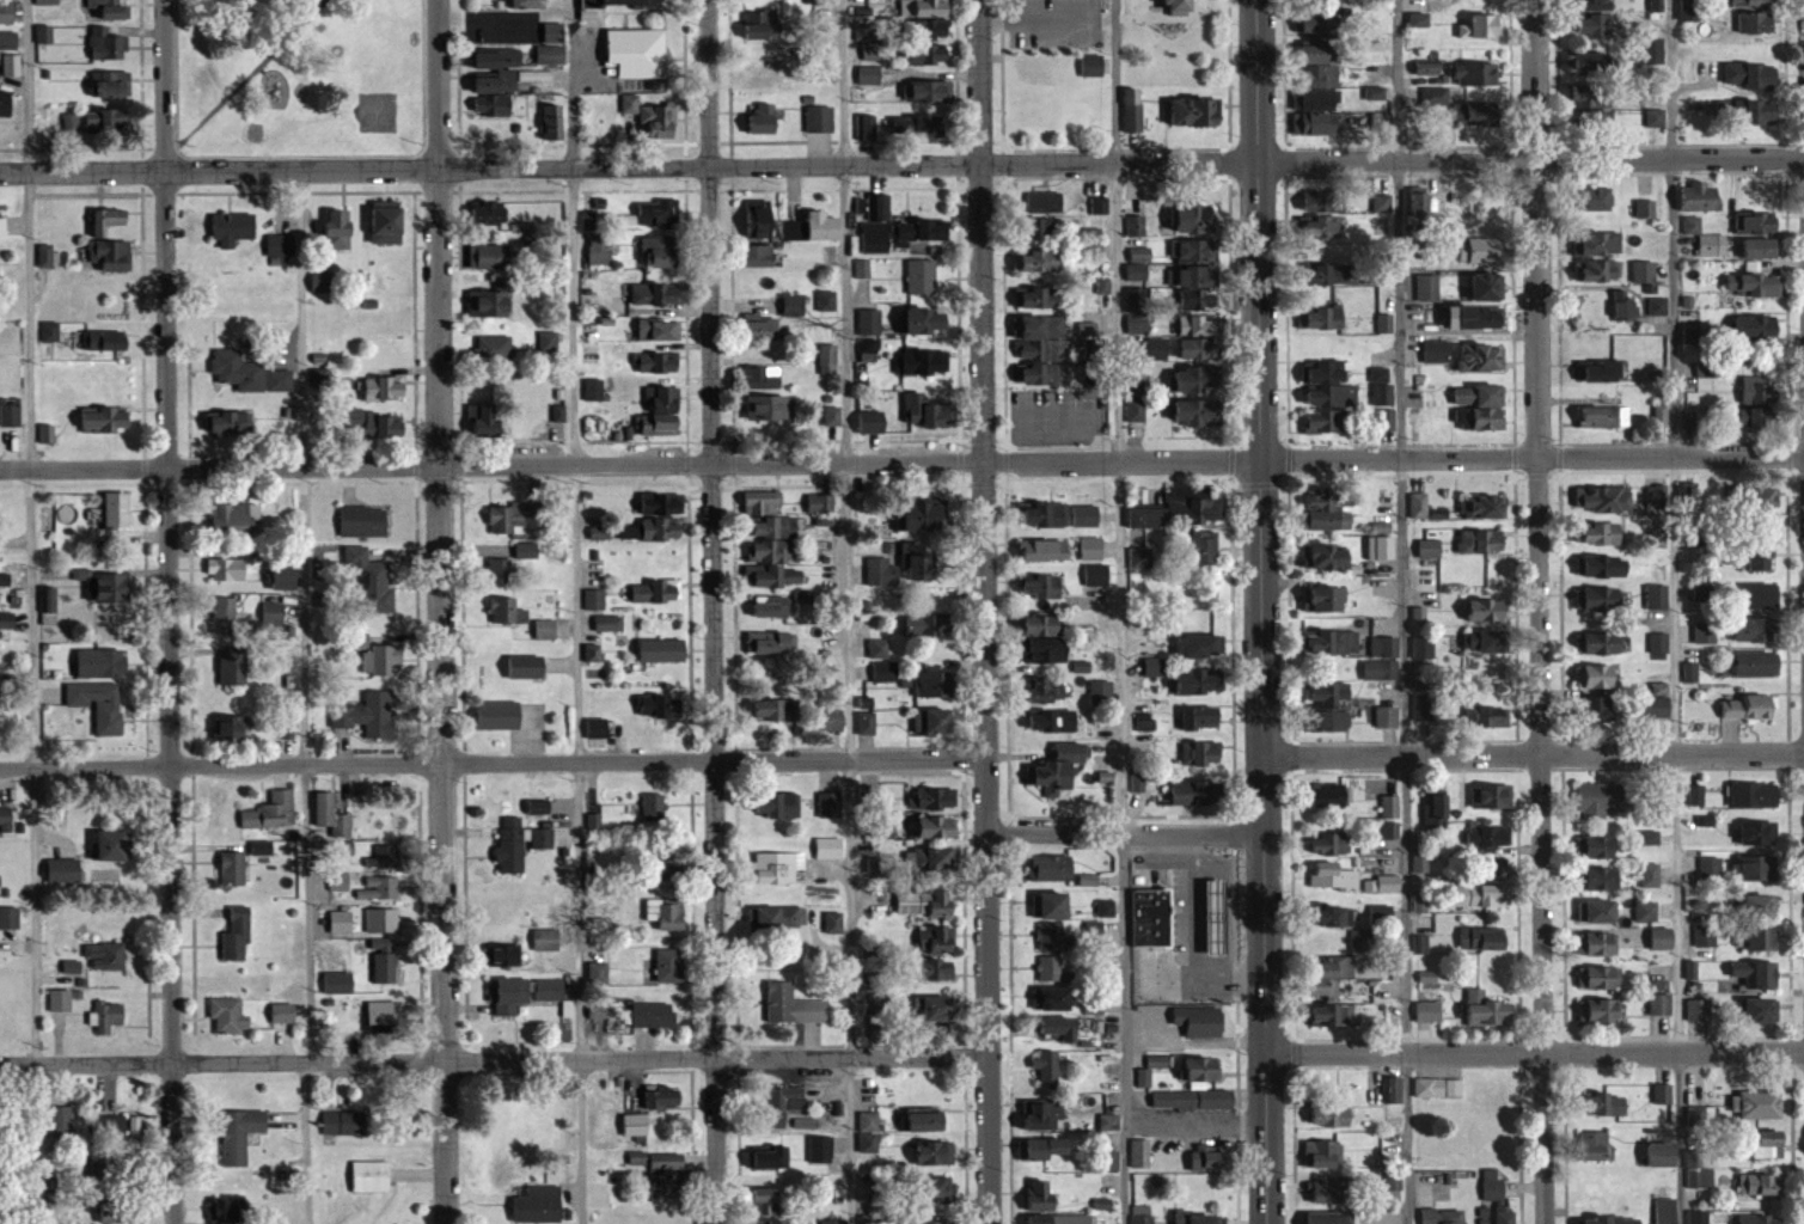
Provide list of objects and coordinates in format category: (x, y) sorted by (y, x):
building: (47, 2)
building: (624, 2)
building: (531, 4)
building: (927, 7)
building: (108, 10)
building: (1325, 11)
building: (6, 13)
road: (1047, 16)
building: (1755, 22)
building: (1590, 24)
building: (763, 25)
building: (1488, 25)
building: (927, 29)
building: (8, 39)
building: (108, 44)
building: (551, 44)
building: (872, 51)
building: (637, 53)
building: (925, 54)
building: (1319, 54)
building: (497, 59)
building: (1594, 63)
building: (10, 65)
building: (1093, 65)
building: (869, 74)
building: (1485, 74)
building: (1750, 75)
building: (111, 84)
building: (493, 84)
park: (304, 86)
building: (929, 90)
building: (1376, 93)
building: (1436, 97)
building: (1319, 102)
building: (5, 103)
building: (493, 104)
building: (629, 109)
building: (1133, 109)
building: (1594, 109)
building: (1198, 111)
building: (1757, 111)
building: (1486, 115)
building: (763, 117)
building: (659, 118)
building: (819, 118)
building: (98, 121)
building: (554, 121)
building: (921, 126)
building: (866, 128)
road: (1530, 157)
road: (629, 166)
building: (1699, 196)
building: (1595, 197)
building: (1326, 201)
building: (1045, 202)
building: (1423, 203)
building: (1645, 208)
building: (489, 212)
building: (656, 213)
building: (759, 218)
building: (1197, 218)
building: (109, 219)
building: (387, 221)
building: (1756, 221)
building: (824, 224)
building: (1690, 225)
building: (2, 226)
building: (1136, 226)
building: (233, 227)
building: (1326, 228)
building: (338, 229)
building: (791, 229)
building: (1051, 229)
building: (924, 232)
building: (1601, 243)
building: (282, 244)
building: (1712, 244)
building: (601, 246)
building: (1093, 246)
building: (1760, 247)
building: (1195, 250)
building: (1486, 250)
building: (661, 251)
building: (47, 255)
building: (110, 255)
building: (759, 255)
building: (491, 256)
building: (1041, 261)
building: (1602, 270)
building: (1647, 271)
building: (1328, 273)
building: (922, 276)
building: (323, 281)
building: (1760, 284)
building: (1490, 286)
building: (1429, 287)
building: (656, 292)
building: (1040, 296)
building: (825, 301)
building: (494, 302)
building: (791, 305)
building: (1657, 310)
building: (1198, 312)
building: (1625, 314)
building: (1327, 316)
building: (1481, 316)
building: (927, 320)
building: (1137, 324)
building: (762, 326)
building: (1756, 328)
building: (659, 329)
building: (106, 341)
building: (1041, 347)
building: (494, 348)
building: (1155, 348)
building: (868, 349)
building: (1438, 350)
building: (591, 351)
building: (1482, 356)
building: (827, 359)
building: (658, 362)
building: (922, 362)
building: (1600, 369)
building: (249, 373)
building: (762, 377)
building: (1197, 379)
building: (320, 380)
building: (385, 388)
building: (594, 388)
building: (1383, 388)
building: (1327, 394)
building: (1480, 394)
building: (1136, 410)
building: (924, 411)
building: (662, 412)
building: (766, 412)
building: (1197, 412)
building: (10, 415)
building: (1661, 415)
building: (831, 416)
building: (1604, 416)
building: (105, 418)
building: (350, 418)
building: (489, 418)
building: (1490, 418)
building: (1759, 418)
building: (870, 420)
building: (230, 422)
building: (380, 427)
road: (1530, 458)
road: (629, 463)
building: (1696, 494)
building: (1768, 497)
building: (1608, 498)
building: (662, 503)
building: (821, 504)
building: (1425, 507)
building: (1485, 507)
building: (1331, 508)
building: (1181, 509)
building: (1046, 514)
building: (117, 516)
building: (513, 516)
building: (768, 516)
building: (925, 516)
building: (237, 518)
building: (363, 520)
building: (650, 530)
building: (1603, 533)
building: (1481, 540)
building: (1384, 546)
building: (1090, 547)
building: (1205, 549)
building: (526, 550)
building: (1046, 550)
road: (576, 553)
building: (1328, 555)
building: (1760, 557)
building: (917, 563)
building: (771, 565)
building: (1606, 565)
building: (226, 569)
building: (1482, 570)
building: (500, 571)
building: (881, 571)
building: (283, 575)
building: (1095, 575)
building: (1437, 576)
building: (369, 581)
building: (106, 585)
building: (1040, 586)
building: (656, 592)
building: (1757, 595)
building: (1658, 596)
building: (1325, 599)
building: (1600, 599)
building: (771, 606)
building: (509, 610)
building: (1487, 610)
road: (31, 611)
road: (440, 611)
road: (710, 611)
road: (1404, 611)
road: (1540, 611)
road: (169, 612)
road: (845, 612)
road: (984, 612)
road: (1119, 612)
road: (1261, 612)
road: (1675, 612)
building: (225, 616)
building: (274, 616)
building: (7, 620)
building: (609, 623)
building: (927, 625)
building: (1042, 625)
building: (545, 629)
building: (1759, 629)
building: (1199, 638)
building: (1486, 642)
building: (771, 643)
building: (1329, 643)
building: (1601, 643)
building: (1661, 643)
building: (1423, 647)
building: (661, 650)
building: (1044, 651)
building: (383, 659)
building: (102, 662)
building: (1759, 663)
building: (233, 666)
building: (526, 666)
building: (1154, 667)
building: (885, 672)
building: (1598, 677)
building: (1199, 681)
building: (936, 684)
building: (1046, 690)
building: (1100, 693)
building: (1331, 693)
road: (305, 697)
building: (99, 704)
building: (661, 705)
building: (1426, 705)
building: (1656, 708)
building: (1749, 708)
building: (776, 710)
building: (1603, 710)
building: (369, 715)
building: (499, 715)
building: (1487, 716)
building: (1387, 717)
building: (1200, 718)
building: (831, 720)
building: (1052, 721)
building: (1329, 721)
building: (866, 722)
building: (932, 722)
building: (230, 729)
building: (1200, 753)
road: (1533, 754)
road: (493, 764)
building: (1059, 770)
building: (1195, 792)
building: (827, 795)
building: (1328, 795)
building: (1756, 795)
building: (1497, 797)
building: (931, 798)
building: (1601, 801)
building: (777, 806)
building: (1389, 807)
building: (653, 808)
building: (271, 812)
building: (1436, 812)
building: (330, 813)
building: (5, 819)
building: (934, 827)
building: (1389, 831)
building: (1760, 833)
road: (1124, 834)
building: (1490, 836)
building: (1331, 843)
building: (519, 844)
building: (114, 846)
building: (1600, 847)
building: (828, 849)
building: (383, 857)
building: (936, 859)
building: (1417, 864)
building: (778, 868)
building: (1050, 868)
building: (1497, 868)
building: (1756, 868)
building: (233, 869)
building: (668, 869)
building: (1711, 870)
building: (63, 871)
building: (1650, 875)
building: (1334, 876)
building: (1603, 879)
building: (380, 888)
building: (1419, 895)
building: (1480, 895)
building: (925, 902)
building: (1054, 905)
building: (1761, 906)
building: (1646, 911)
building: (1603, 912)
building: (666, 913)
building: (1150, 917)
building: (1217, 917)
building: (8, 918)
building: (778, 919)
building: (381, 920)
building: (832, 923)
building: (237, 935)
building: (1705, 936)
building: (1053, 937)
road: (1190, 937)
building: (1662, 938)
building: (1484, 940)
building: (1757, 940)
building: (546, 941)
building: (936, 941)
building: (1601, 944)
building: (104, 954)
building: (503, 956)
building: (384, 963)
building: (669, 966)
building: (1050, 968)
building: (935, 971)
building: (598, 973)
building: (1756, 974)
building: (1328, 975)
building: (1604, 978)
building: (338, 984)
building: (552, 991)
building: (510, 996)
building: (1053, 999)
building: (876, 1004)
building: (1661, 1004)
building: (793, 1005)
building: (940, 1010)
building: (1698, 1010)
building: (1762, 1010)
building: (1429, 1011)
building: (1488, 1011)
building: (1603, 1011)
building: (283, 1012)
building: (226, 1015)
building: (1323, 1015)
building: (384, 1016)
building: (654, 1016)
building: (108, 1017)
building: (1199, 1022)
building: (1063, 1028)
road: (1535, 1054)
road: (494, 1061)
building: (1048, 1070)
building: (1203, 1072)
building: (1439, 1088)
building: (1662, 1095)
building: (662, 1097)
building: (1192, 1100)
building: (1606, 1104)
building: (1756, 1104)
building: (783, 1106)
building: (1045, 1114)
building: (1329, 1115)
building: (1696, 1118)
building: (924, 1120)
building: (344, 1122)
building: (61, 1124)
building: (126, 1126)
building: (635, 1126)
building: (867, 1133)
building: (240, 1134)
building: (1768, 1144)
building: (1595, 1146)
building: (820, 1150)
building: (1044, 1150)
building: (934, 1153)
building: (1139, 1155)
building: (1322, 1155)
building: (1661, 1156)
building: (769, 1158)
building: (1209, 1158)
building: (565, 1169)
building: (1698, 1169)
building: (371, 1177)
building: (666, 1179)
building: (1761, 1186)
building: (1328, 1189)
building: (934, 1191)
building: (1041, 1195)
building: (765, 1202)
building: (1496, 1204)
building: (537, 1205)
building: (225, 1211)
building: (114, 1212)
building: (1141, 1214)
building: (1443, 1217)
building: (1698, 1217)
building: (1199, 1218)
building: (1329, 1218)
building: (1062, 1219)
building: (1664, 1219)
building: (1760, 1219)
building: (1594, 1222)
building: (776, 1223)
building: (834, 1223)

